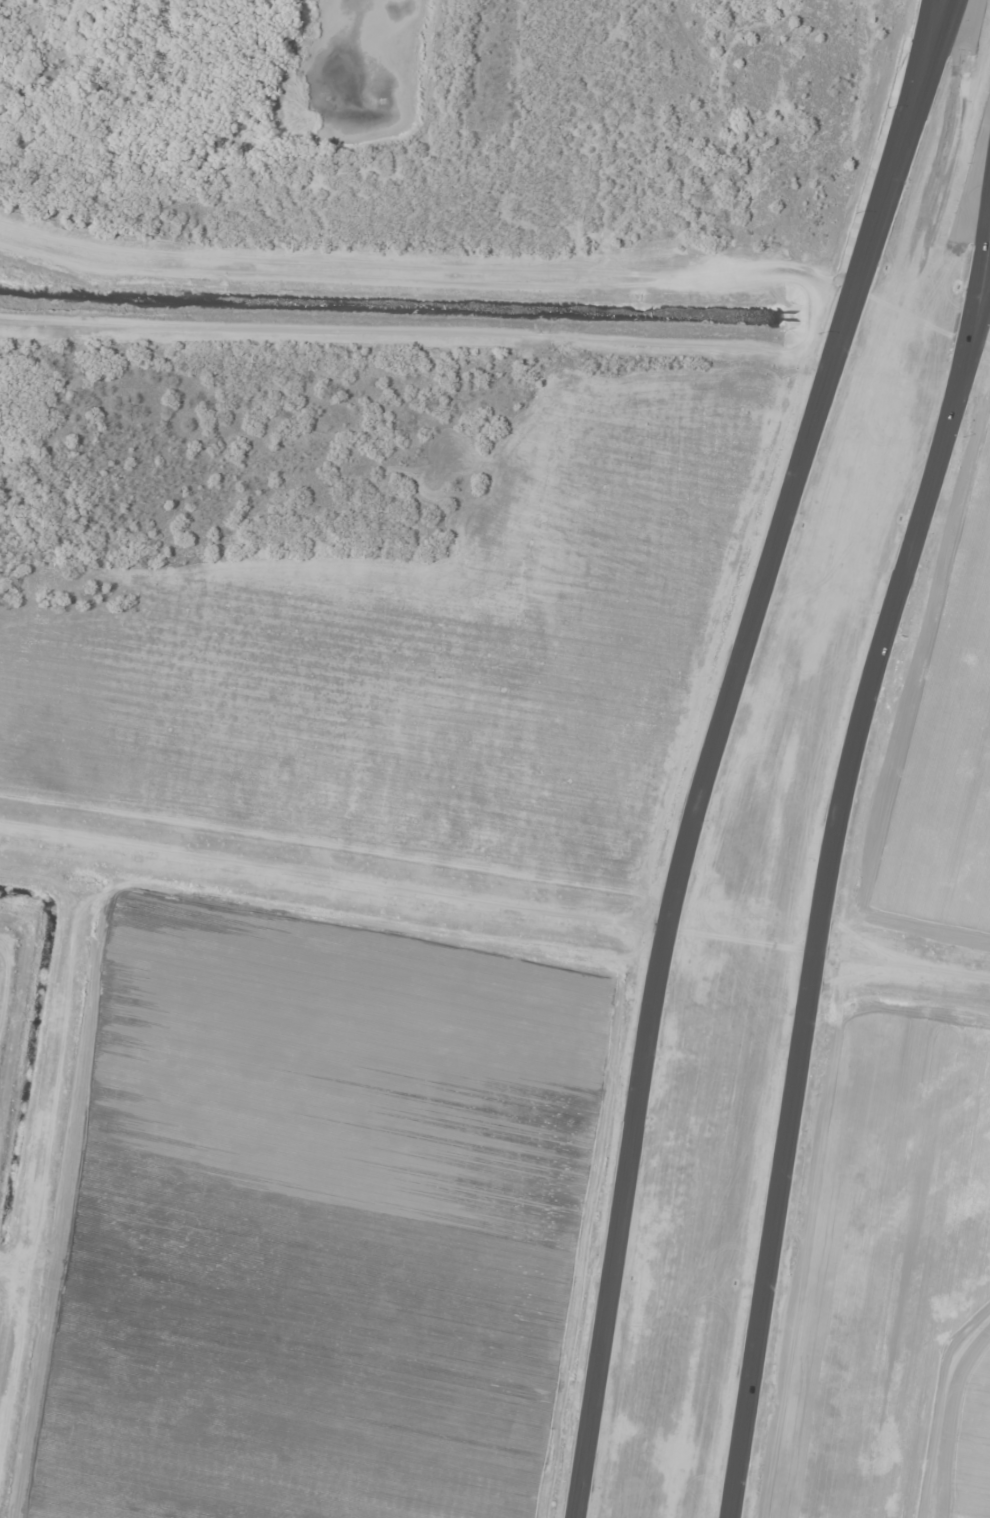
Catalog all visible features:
road: (850, 284)
river: (398, 303)
river: (894, 318)
road: (965, 381)
road: (749, 640)
road: (828, 867)
road: (595, 1408)

